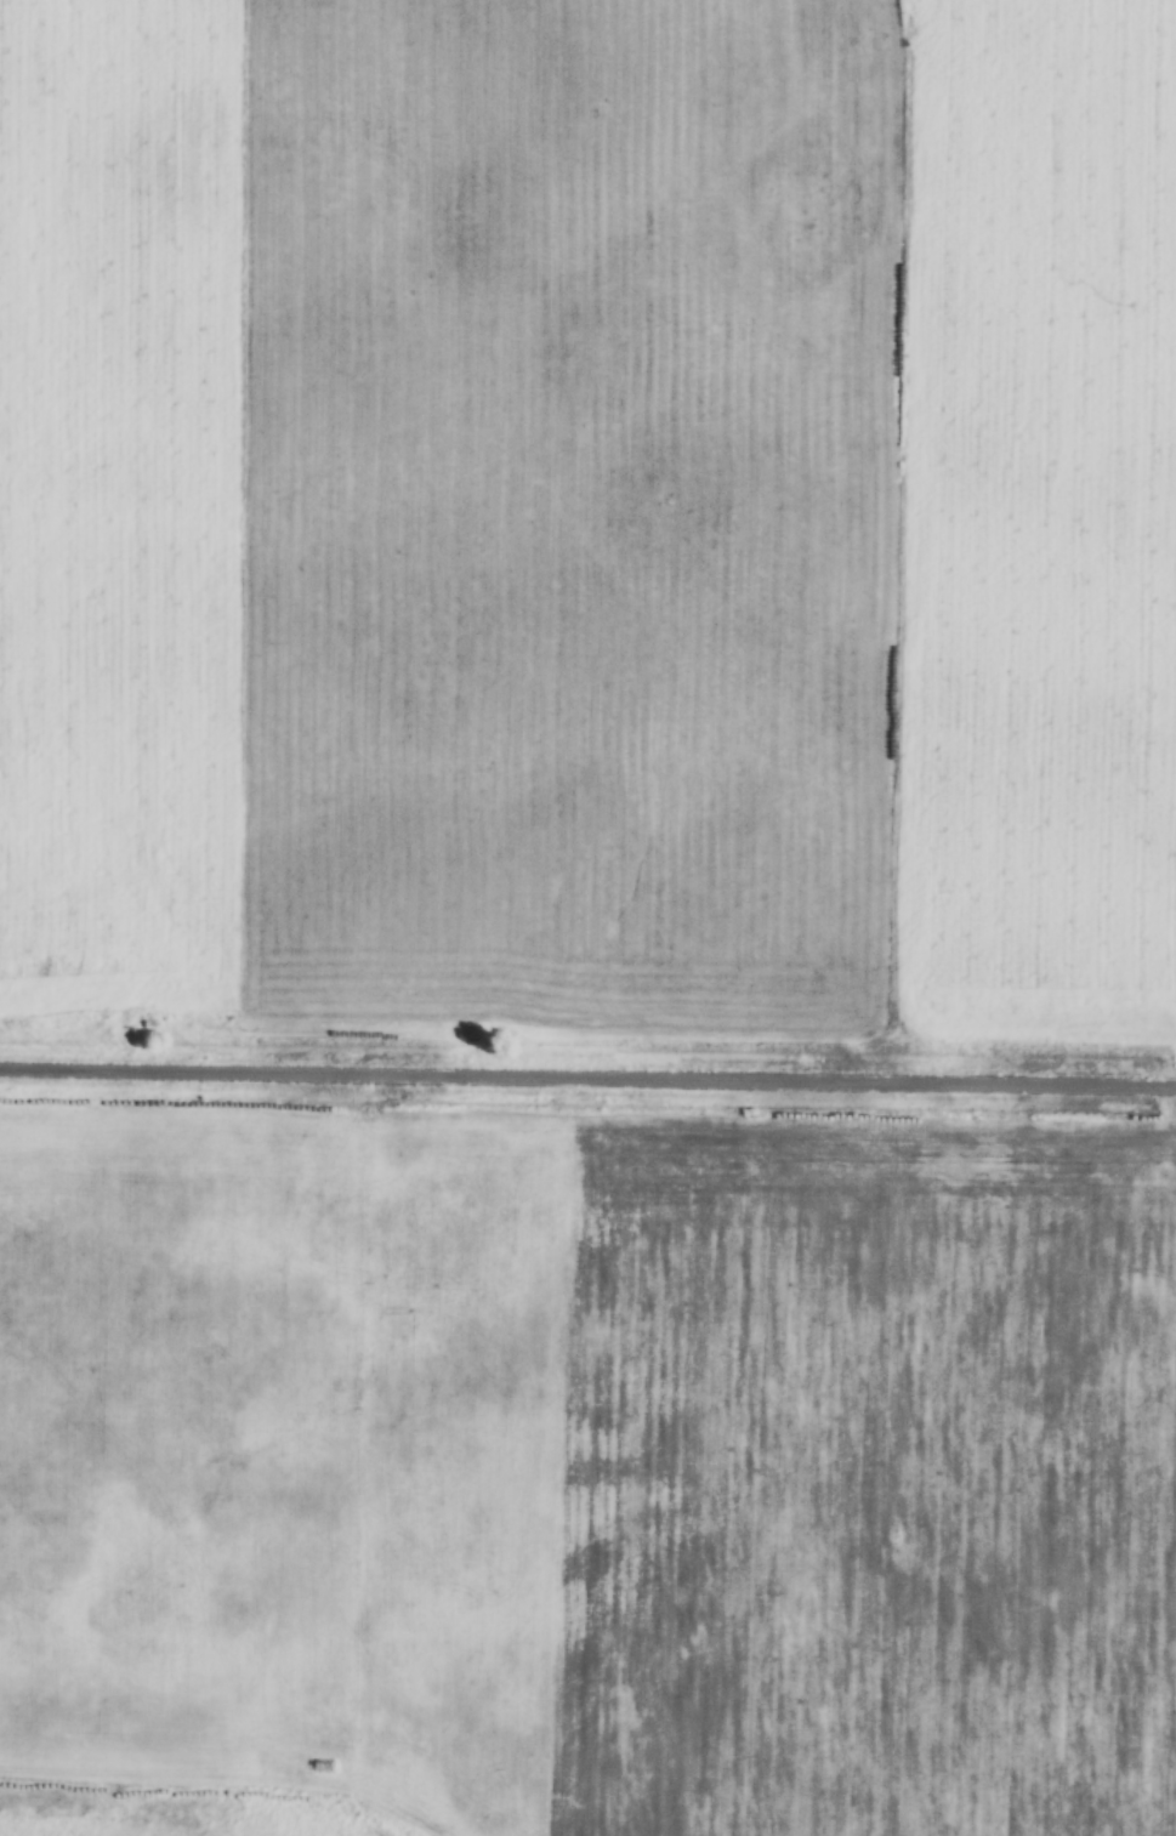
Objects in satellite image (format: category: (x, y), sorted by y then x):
road: (587, 1075)

